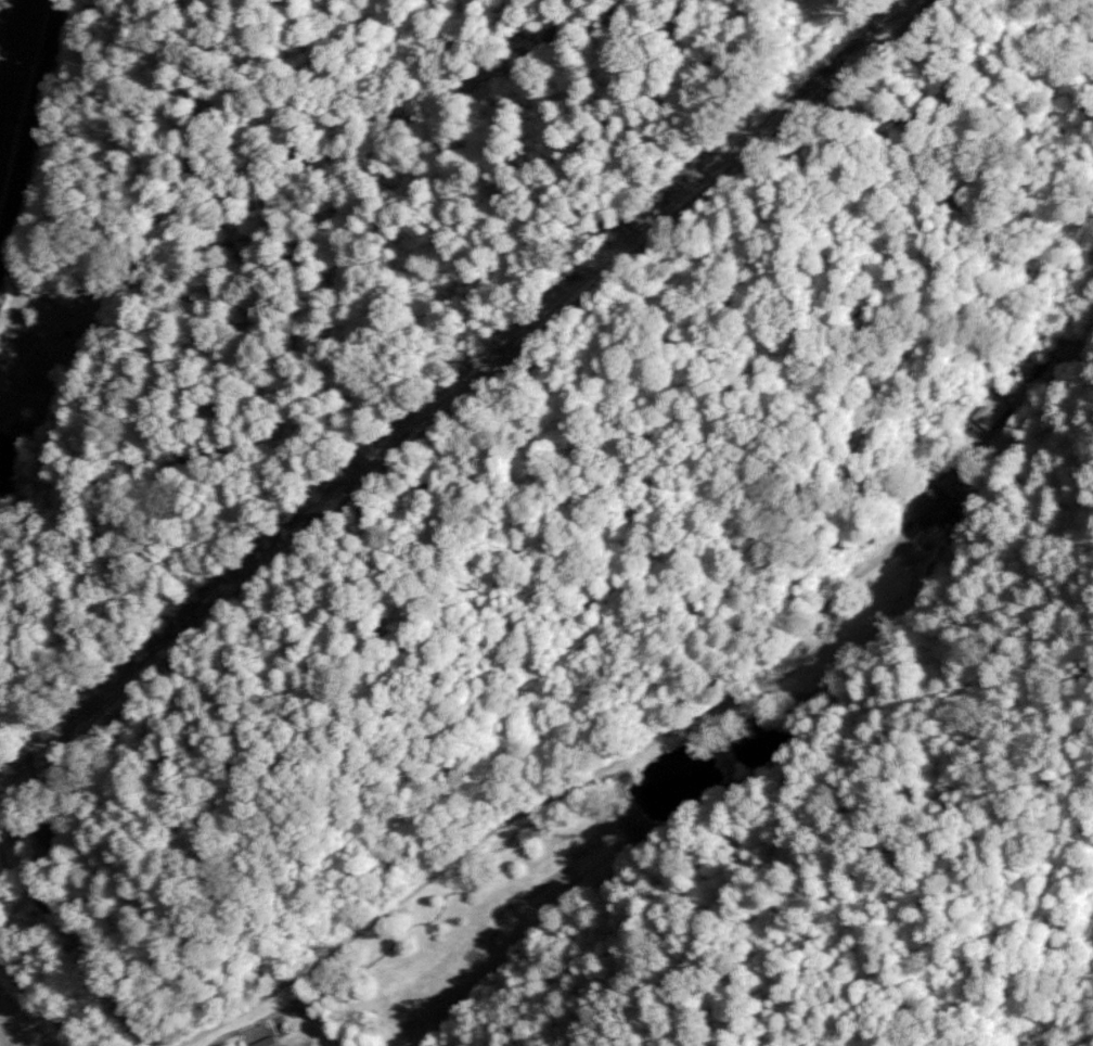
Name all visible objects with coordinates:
road: (31, 129)
building: (990, 410)
building: (10, 456)
building: (931, 505)
road: (550, 794)
road: (48, 993)
building: (263, 1042)

